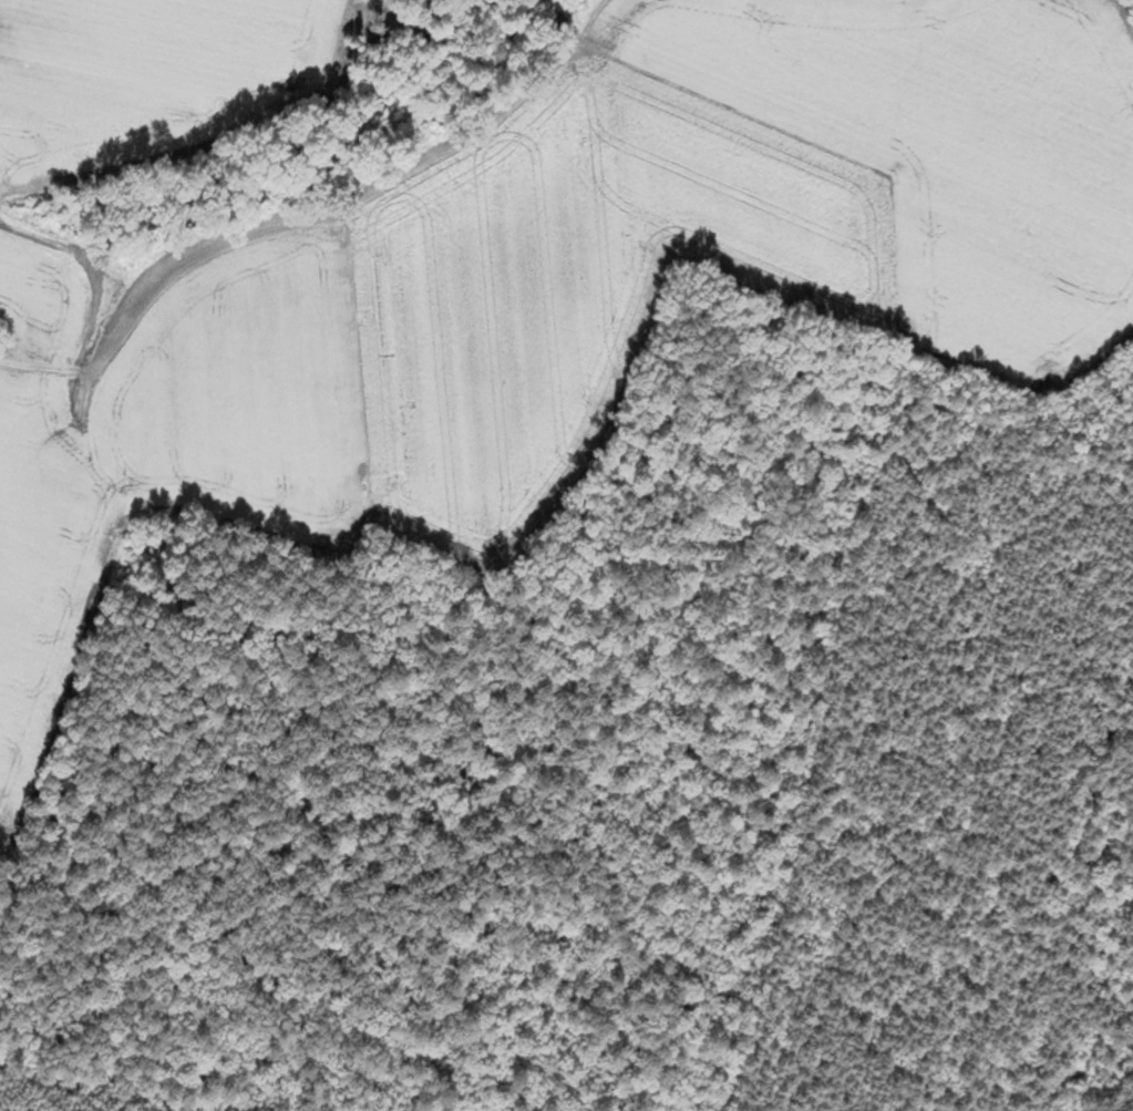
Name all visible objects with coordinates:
road: (44, 347)

